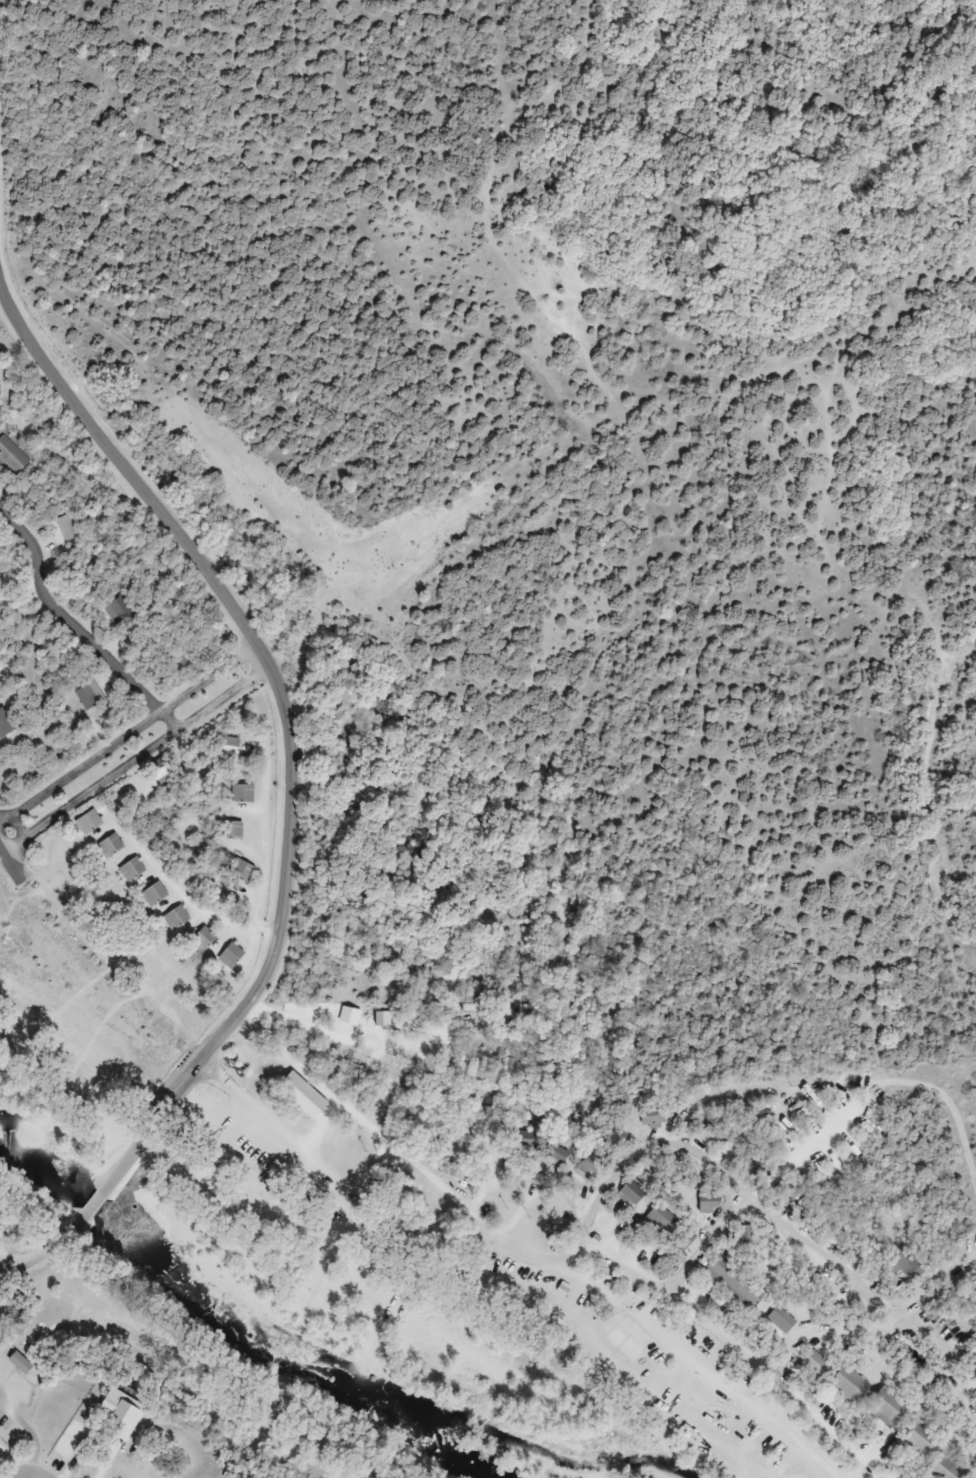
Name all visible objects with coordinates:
building: (14, 453)
building: (64, 529)
building: (119, 611)
road: (64, 619)
road: (239, 656)
road: (252, 673)
building: (92, 695)
road: (295, 709)
road: (172, 719)
building: (6, 724)
building: (227, 748)
road: (108, 750)
road: (121, 769)
building: (160, 771)
building: (241, 793)
building: (86, 822)
building: (230, 830)
building: (108, 846)
road: (15, 856)
building: (130, 870)
building: (239, 870)
building: (152, 894)
road: (189, 900)
building: (174, 917)
building: (200, 939)
building: (228, 955)
building: (299, 1095)
building: (652, 1117)
building: (711, 1138)
building: (554, 1155)
building: (752, 1161)
building: (586, 1166)
building: (629, 1192)
road: (93, 1202)
building: (705, 1204)
building: (668, 1228)
building: (743, 1235)
road: (524, 1249)
road: (49, 1251)
building: (903, 1264)
building: (732, 1282)
river: (235, 1311)
building: (779, 1320)
road: (858, 1334)
building: (973, 1340)
building: (25, 1363)
building: (813, 1366)
building: (846, 1383)
building: (885, 1405)
building: (921, 1438)
building: (944, 1467)

